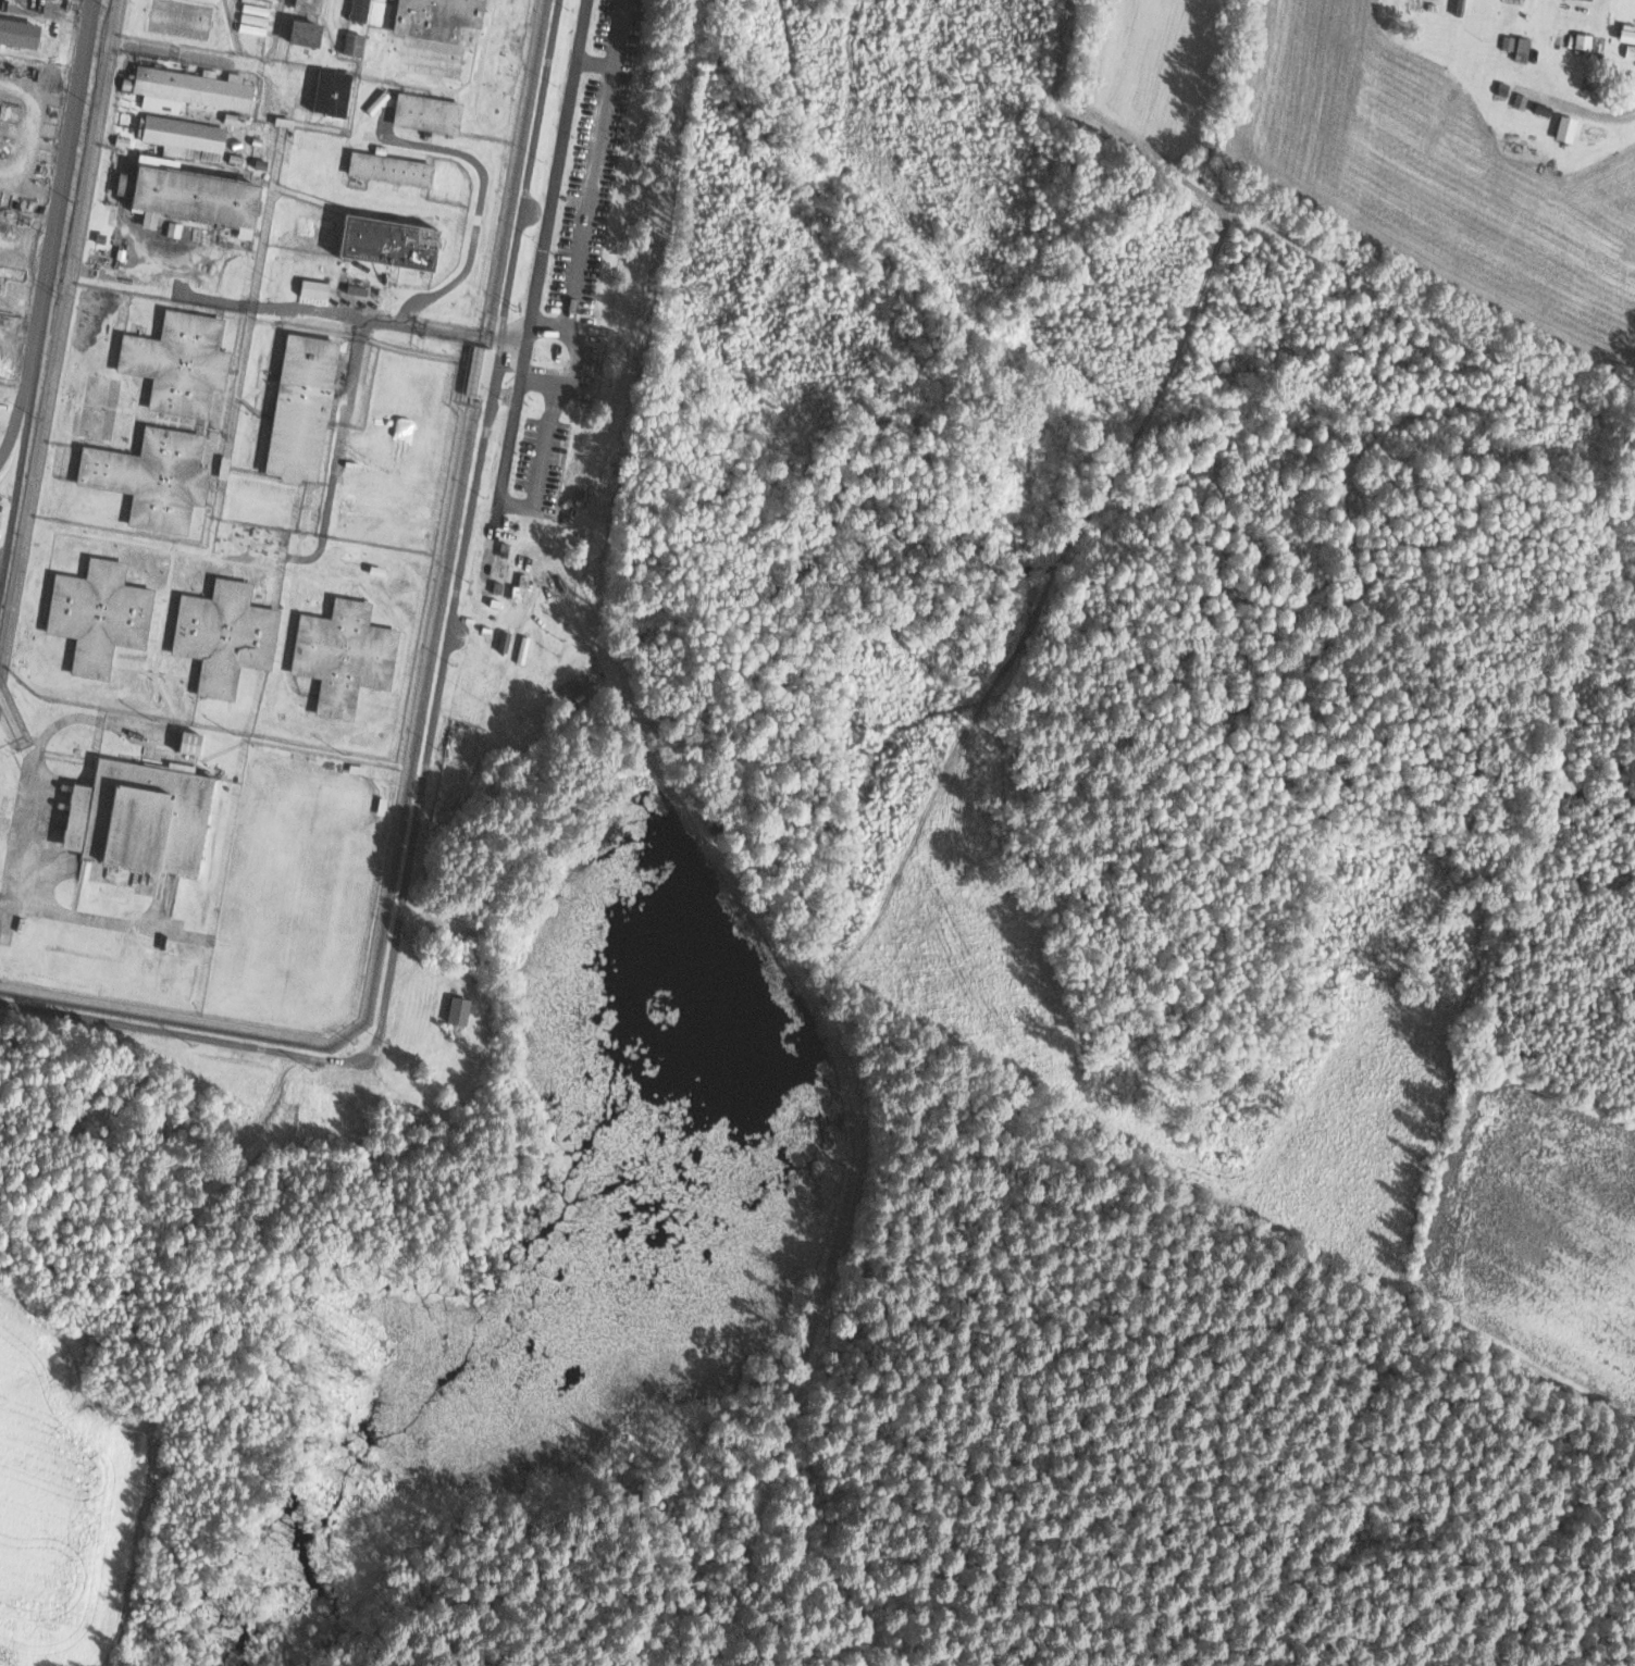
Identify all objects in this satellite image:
building: (359, 8)
building: (439, 17)
building: (20, 33)
building: (307, 33)
building: (1584, 40)
building: (355, 43)
building: (189, 89)
building: (333, 92)
road: (1583, 109)
building: (429, 113)
building: (1566, 128)
building: (170, 134)
building: (392, 169)
building: (189, 194)
road: (57, 232)
building: (391, 243)
building: (315, 288)
building: (179, 362)
building: (481, 372)
building: (304, 408)
building: (153, 477)
road: (522, 506)
building: (100, 614)
building: (225, 635)
building: (345, 656)
building: (191, 743)
building: (141, 815)
building: (459, 1009)
road: (841, 1057)

